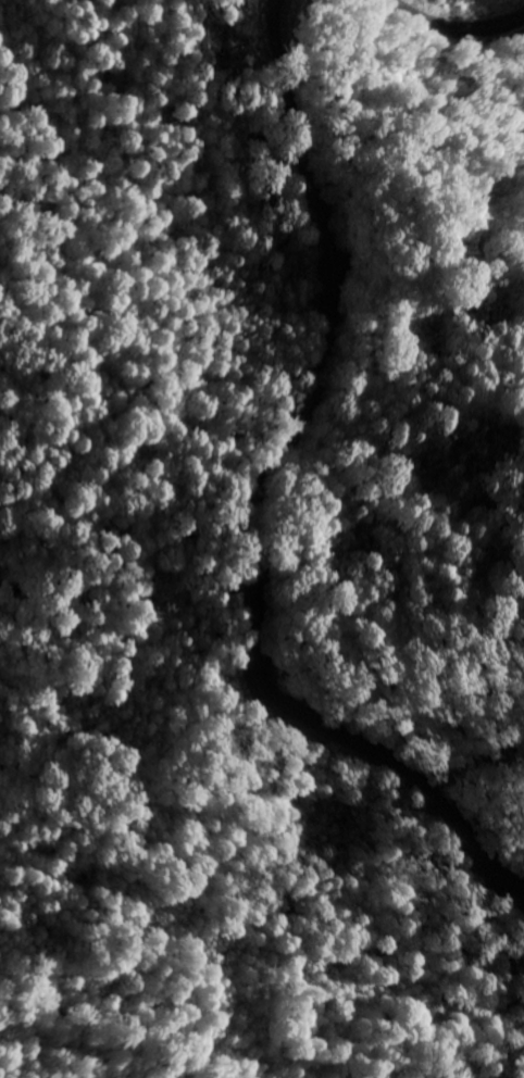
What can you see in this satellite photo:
road: (446, 36)
road: (261, 509)

